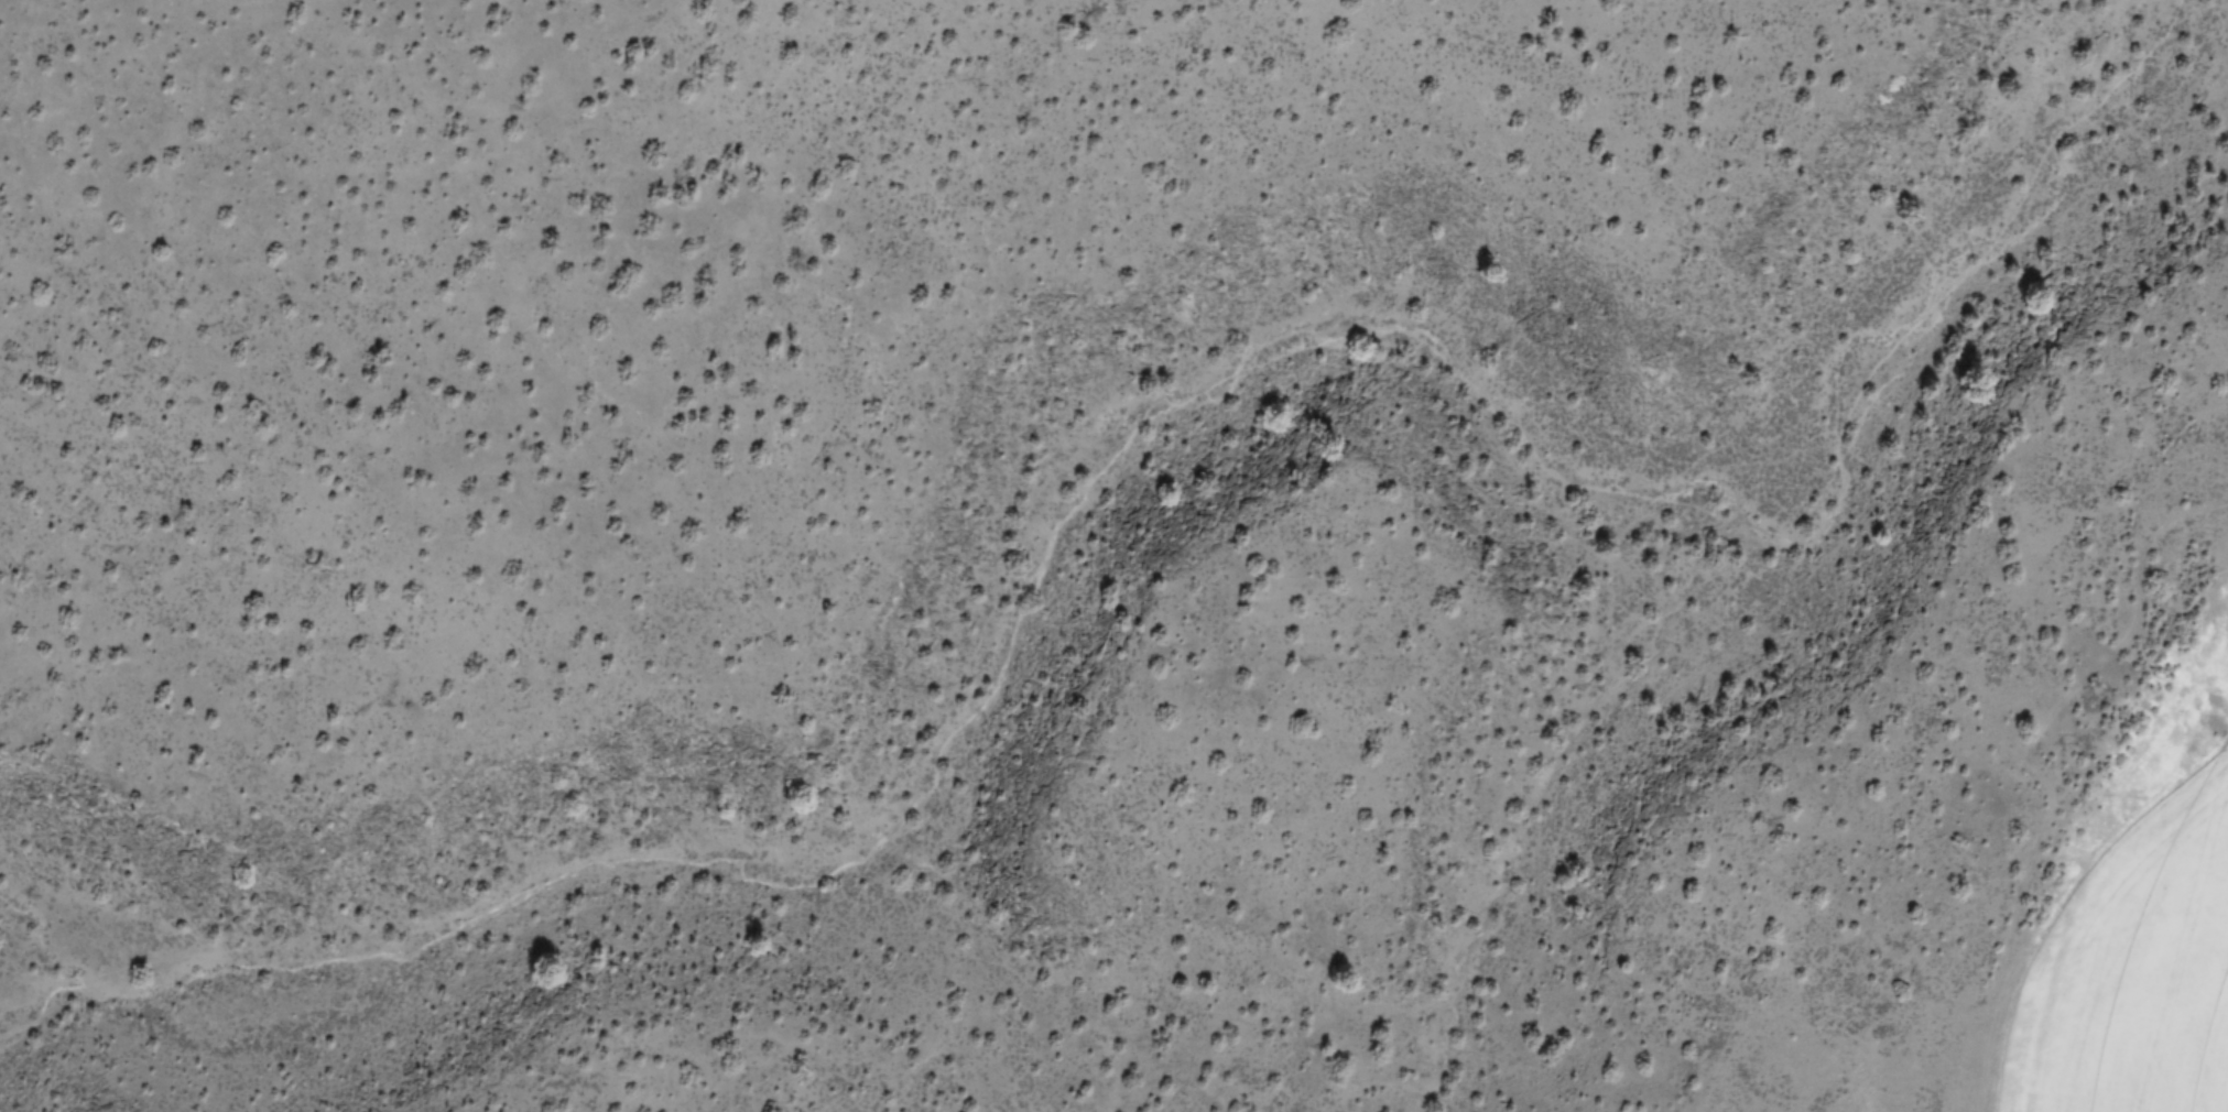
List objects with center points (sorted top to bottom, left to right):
crop: (2075, 871)

